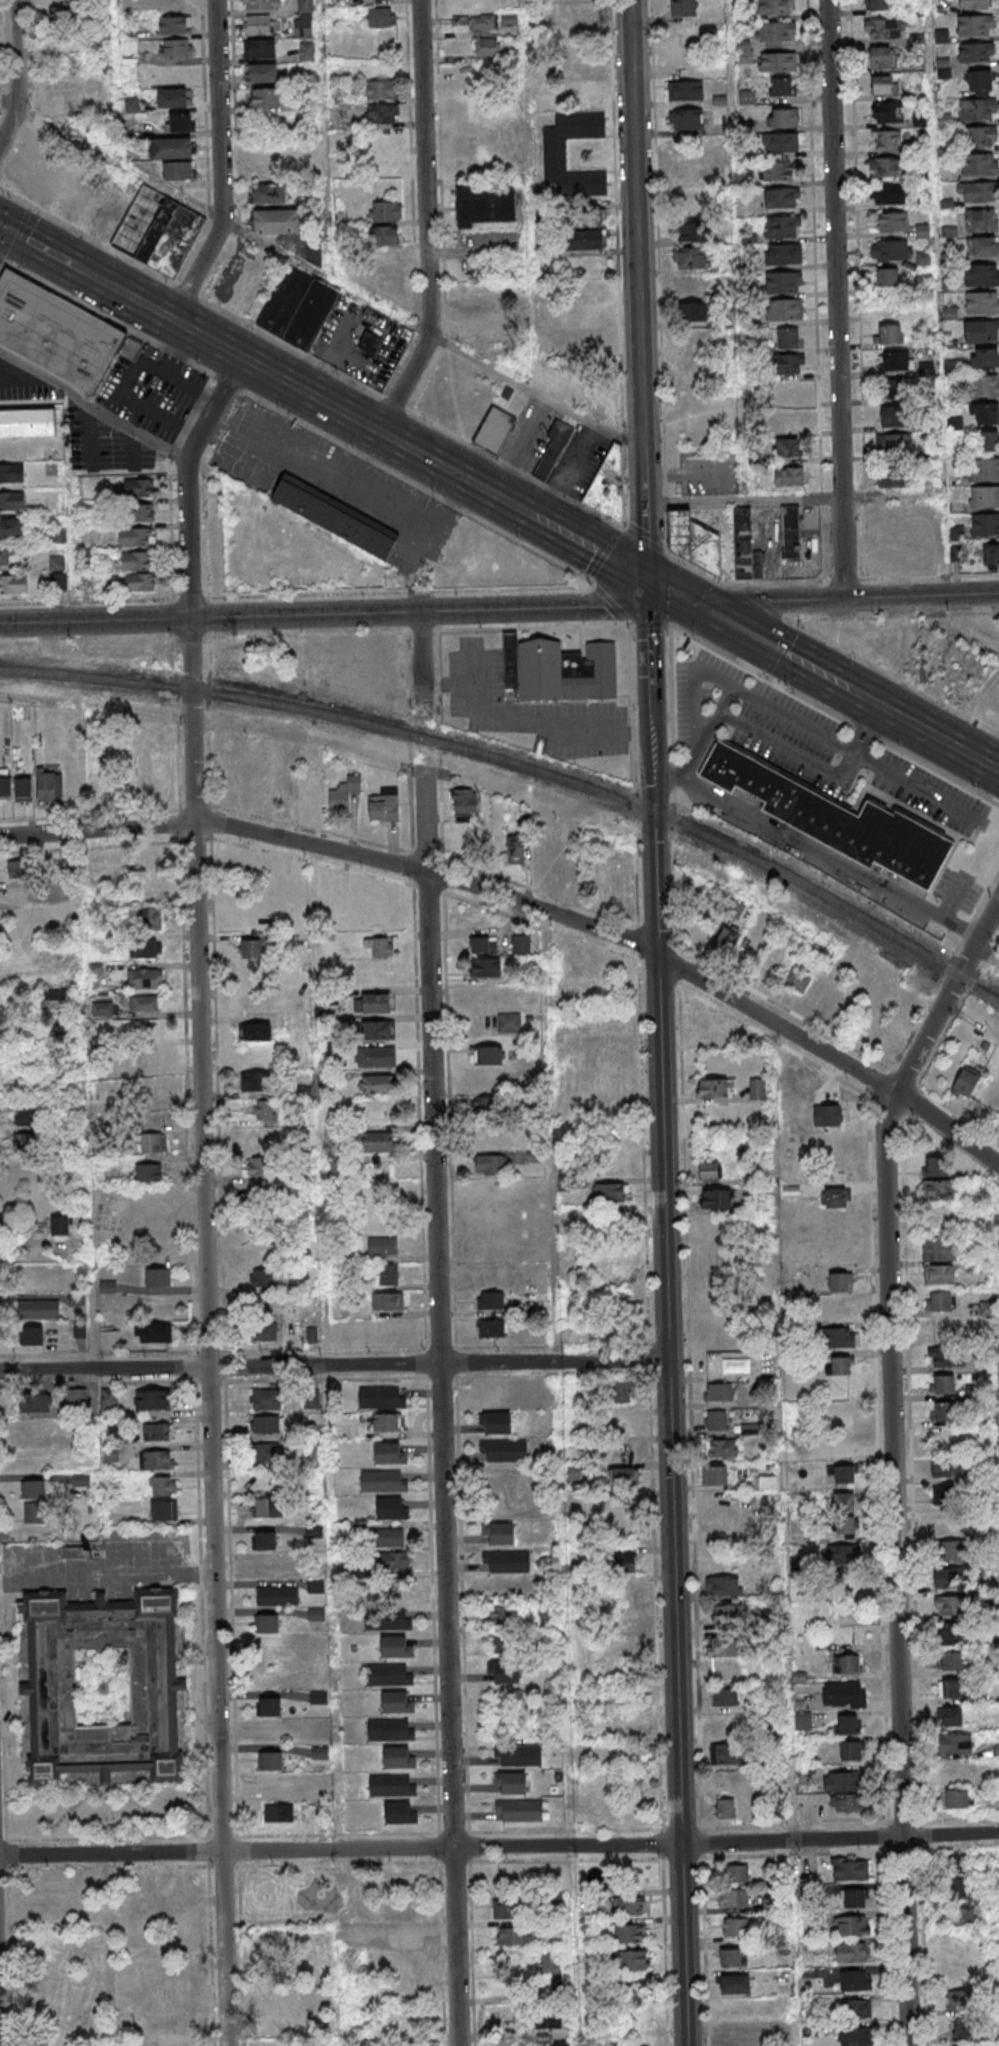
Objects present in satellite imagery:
building: (975, 4)
building: (260, 5)
building: (776, 7)
building: (682, 8)
building: (64, 18)
building: (380, 18)
building: (488, 21)
building: (258, 24)
building: (176, 25)
building: (580, 25)
building: (885, 28)
building: (975, 28)
building: (774, 33)
building: (176, 48)
building: (260, 48)
building: (485, 48)
building: (307, 51)
building: (744, 51)
building: (129, 52)
building: (976, 55)
building: (880, 58)
building: (777, 61)
building: (570, 66)
building: (262, 73)
road: (14, 74)
building: (980, 82)
building: (882, 85)
building: (781, 86)
building: (59, 89)
building: (381, 89)
building: (685, 90)
building: (174, 97)
building: (265, 97)
building: (747, 97)
building: (978, 112)
building: (383, 113)
building: (888, 113)
building: (781, 118)
building: (685, 119)
road: (632, 121)
building: (181, 122)
building: (979, 139)
building: (886, 140)
building: (781, 142)
building: (171, 148)
building: (554, 153)
building: (979, 164)
road: (219, 165)
building: (886, 166)
building: (179, 170)
building: (781, 171)
building: (687, 175)
building: (889, 193)
building: (267, 194)
building: (980, 194)
building: (782, 198)
building: (486, 206)
building: (385, 211)
road: (215, 216)
building: (586, 220)
building: (981, 220)
building: (891, 221)
building: (276, 222)
road: (425, 222)
building: (783, 226)
road: (1, 227)
traffic signals: (2, 228)
road: (1, 229)
building: (690, 230)
building: (158, 231)
building: (922, 231)
road: (17, 233)
building: (383, 235)
building: (582, 240)
building: (983, 246)
road: (38, 248)
building: (891, 250)
building: (313, 252)
building: (783, 254)
building: (689, 258)
road: (2, 259)
road: (616, 263)
building: (982, 274)
road: (92, 277)
building: (887, 277)
road: (659, 278)
building: (784, 282)
building: (690, 285)
road: (839, 299)
building: (982, 303)
building: (298, 308)
building: (785, 309)
building: (694, 311)
building: (950, 313)
building: (478, 316)
road: (108, 317)
building: (981, 331)
building: (56, 332)
building: (888, 333)
building: (787, 338)
building: (478, 340)
building: (691, 340)
road: (818, 341)
building: (369, 343)
road: (862, 355)
road: (310, 357)
building: (984, 357)
road: (242, 359)
building: (895, 360)
building: (790, 363)
building: (691, 369)
road: (228, 382)
building: (984, 385)
building: (897, 389)
building: (788, 392)
road: (533, 393)
road: (90, 408)
road: (641, 412)
building: (983, 413)
building: (896, 417)
building: (788, 421)
building: (27, 423)
building: (494, 429)
building: (988, 440)
building: (893, 444)
building: (552, 448)
building: (787, 449)
building: (984, 472)
building: (11, 473)
road: (453, 473)
building: (891, 477)
building: (788, 478)
road: (416, 485)
building: (609, 486)
building: (138, 487)
building: (985, 499)
building: (11, 501)
road: (744, 501)
building: (142, 512)
building: (335, 516)
building: (985, 527)
building: (11, 528)
building: (790, 533)
building: (136, 536)
building: (692, 541)
road: (588, 547)
building: (745, 548)
building: (991, 554)
building: (5, 555)
road: (670, 558)
building: (136, 560)
building: (57, 563)
building: (59, 578)
traffic signals: (647, 581)
road: (847, 581)
building: (86, 582)
building: (139, 582)
building: (13, 584)
road: (668, 591)
road: (602, 593)
road: (298, 596)
road: (923, 596)
road: (768, 601)
road: (759, 602)
traffic signals: (689, 603)
road: (538, 607)
road: (210, 617)
road: (489, 630)
road: (958, 630)
road: (770, 648)
road: (780, 649)
road: (422, 658)
road: (475, 667)
building: (560, 674)
road: (896, 677)
road: (650, 696)
road: (775, 707)
road: (672, 711)
road: (834, 713)
road: (526, 720)
road: (869, 731)
road: (925, 732)
railway: (523, 767)
building: (5, 783)
building: (49, 787)
building: (23, 789)
building: (343, 793)
building: (464, 804)
building: (383, 807)
building: (832, 825)
building: (515, 849)
road: (829, 858)
building: (18, 869)
road: (654, 882)
building: (622, 883)
road: (529, 887)
building: (17, 895)
road: (950, 900)
road: (529, 906)
building: (65, 915)
building: (148, 918)
road: (529, 922)
road: (638, 932)
building: (726, 939)
building: (521, 943)
building: (483, 945)
building: (145, 947)
building: (382, 947)
building: (251, 948)
road: (987, 954)
building: (485, 966)
building: (144, 978)
building: (797, 982)
building: (53, 1000)
building: (146, 1003)
building: (373, 1003)
building: (102, 1008)
building: (509, 1022)
building: (605, 1027)
building: (378, 1029)
building: (255, 1032)
building: (708, 1036)
building: (485, 1055)
building: (611, 1055)
building: (376, 1056)
building: (33, 1063)
building: (253, 1081)
building: (965, 1083)
building: (375, 1084)
building: (712, 1088)
building: (757, 1088)
building: (488, 1108)
building: (265, 1112)
building: (27, 1115)
building: (828, 1115)
building: (378, 1141)
building: (26, 1143)
building: (153, 1143)
building: (532, 1157)
building: (490, 1165)
building: (934, 1166)
building: (258, 1167)
building: (710, 1170)
building: (148, 1172)
building: (939, 1190)
building: (608, 1192)
road: (204, 1195)
building: (833, 1197)
building: (716, 1199)
building: (60, 1225)
building: (383, 1246)
building: (939, 1249)
building: (388, 1274)
building: (939, 1274)
building: (156, 1277)
building: (261, 1278)
building: (839, 1281)
building: (76, 1300)
building: (491, 1300)
building: (387, 1301)
building: (939, 1301)
building: (988, 1308)
building: (39, 1309)
building: (491, 1328)
building: (155, 1333)
building: (265, 1333)
building: (31, 1335)
building: (842, 1338)
building: (109, 1340)
building: (946, 1356)
road: (333, 1365)
building: (840, 1365)
building: (715, 1366)
building: (942, 1384)
building: (717, 1392)
building: (77, 1397)
road: (667, 1397)
building: (109, 1398)
building: (152, 1399)
building: (265, 1399)
building: (312, 1399)
building: (382, 1402)
building: (35, 1403)
road: (440, 1407)
building: (942, 1411)
building: (716, 1420)
building: (384, 1422)
building: (625, 1424)
building: (266, 1425)
building: (116, 1427)
building: (36, 1428)
building: (497, 1428)
building: (156, 1432)
building: (722, 1447)
building: (266, 1454)
building: (505, 1455)
building: (389, 1457)
road: (892, 1459)
building: (158, 1460)
building: (947, 1467)
building: (842, 1474)
building: (714, 1475)
building: (622, 1477)
road: (556, 1478)
building: (384, 1484)
building: (162, 1486)
building: (33, 1489)
building: (945, 1495)
building: (843, 1501)
building: (727, 1503)
building: (268, 1507)
building: (164, 1510)
building: (34, 1512)
building: (391, 1512)
building: (845, 1525)
building: (724, 1532)
building: (391, 1537)
building: (500, 1538)
building: (265, 1540)
building: (953, 1551)
building: (844, 1555)
building: (392, 1561)
building: (621, 1563)
building: (508, 1565)
building: (953, 1580)
building: (723, 1585)
building: (316, 1587)
building: (846, 1589)
building: (387, 1590)
building: (277, 1596)
road: (203, 1602)
building: (951, 1607)
building: (727, 1614)
building: (500, 1615)
building: (388, 1623)
building: (266, 1624)
building: (953, 1636)
building: (502, 1643)
building: (723, 1647)
building: (395, 1650)
building: (951, 1661)
building: (846, 1663)
building: (503, 1672)
building: (728, 1673)
building: (389, 1678)
building: (951, 1688)
building: (48, 1691)
building: (843, 1694)
building: (724, 1696)
building: (269, 1706)
building: (396, 1706)
building: (950, 1716)
building: (803, 1720)
building: (847, 1724)
building: (727, 1725)
building: (390, 1733)
building: (955, 1744)
building: (850, 1750)
building: (997, 1751)
building: (725, 1753)
building: (519, 1759)
building: (270, 1760)
building: (398, 1762)
building: (723, 1779)
building: (840, 1780)
building: (279, 1783)
building: (510, 1783)
building: (392, 1789)
building: (954, 1799)
road: (7, 1802)
building: (846, 1803)
building: (726, 1808)
building: (279, 1813)
building: (521, 1814)
building: (400, 1817)
road: (504, 1830)
road: (610, 1845)
road: (110, 1854)
building: (850, 1868)
building: (737, 1874)
building: (958, 1891)
park: (341, 1895)
building: (854, 1898)
building: (734, 1899)
building: (627, 1907)
building: (506, 1909)
building: (961, 1917)
building: (852, 1926)
building: (734, 1928)
building: (356, 1933)
building: (627, 1934)
building: (513, 1937)
building: (403, 1938)
road: (682, 1944)
building: (851, 1952)
building: (729, 1957)
building: (631, 1961)
building: (321, 1962)
building: (547, 1964)
building: (855, 1980)
building: (734, 1983)
road: (339, 1987)
building: (958, 1999)
building: (858, 2008)
building: (733, 2013)
building: (547, 2020)
building: (961, 2026)
building: (855, 2035)
building: (739, 2038)
building: (369, 2043)

